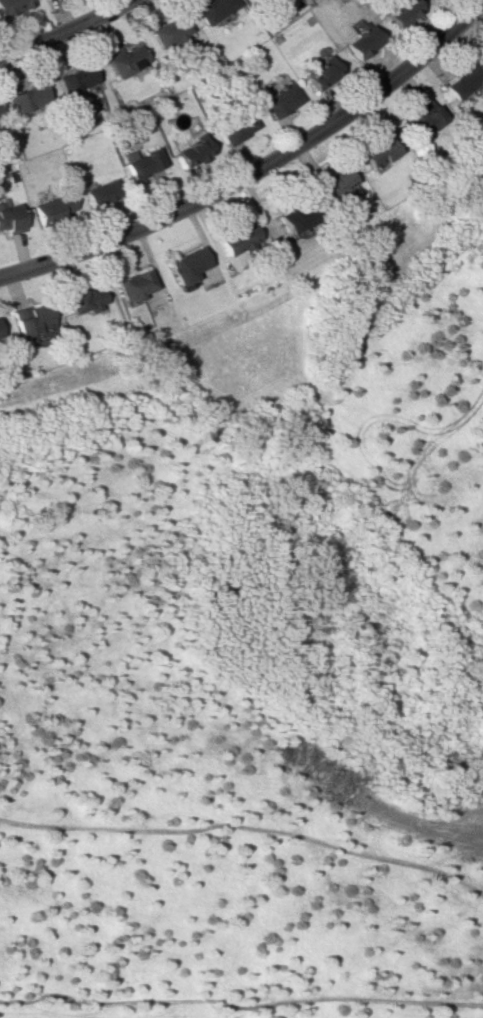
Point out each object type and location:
building: (42, 0)
building: (12, 6)
building: (210, 9)
building: (399, 11)
road: (67, 30)
building: (168, 32)
building: (360, 42)
building: (124, 61)
building: (321, 73)
building: (74, 80)
building: (461, 81)
building: (25, 97)
building: (279, 100)
building: (420, 120)
building: (236, 128)
building: (193, 150)
building: (377, 151)
building: (141, 162)
road: (257, 170)
building: (332, 183)
building: (99, 193)
building: (52, 207)
building: (295, 218)
building: (10, 219)
building: (237, 238)
building: (186, 265)
building: (134, 285)
building: (85, 299)
building: (31, 317)

